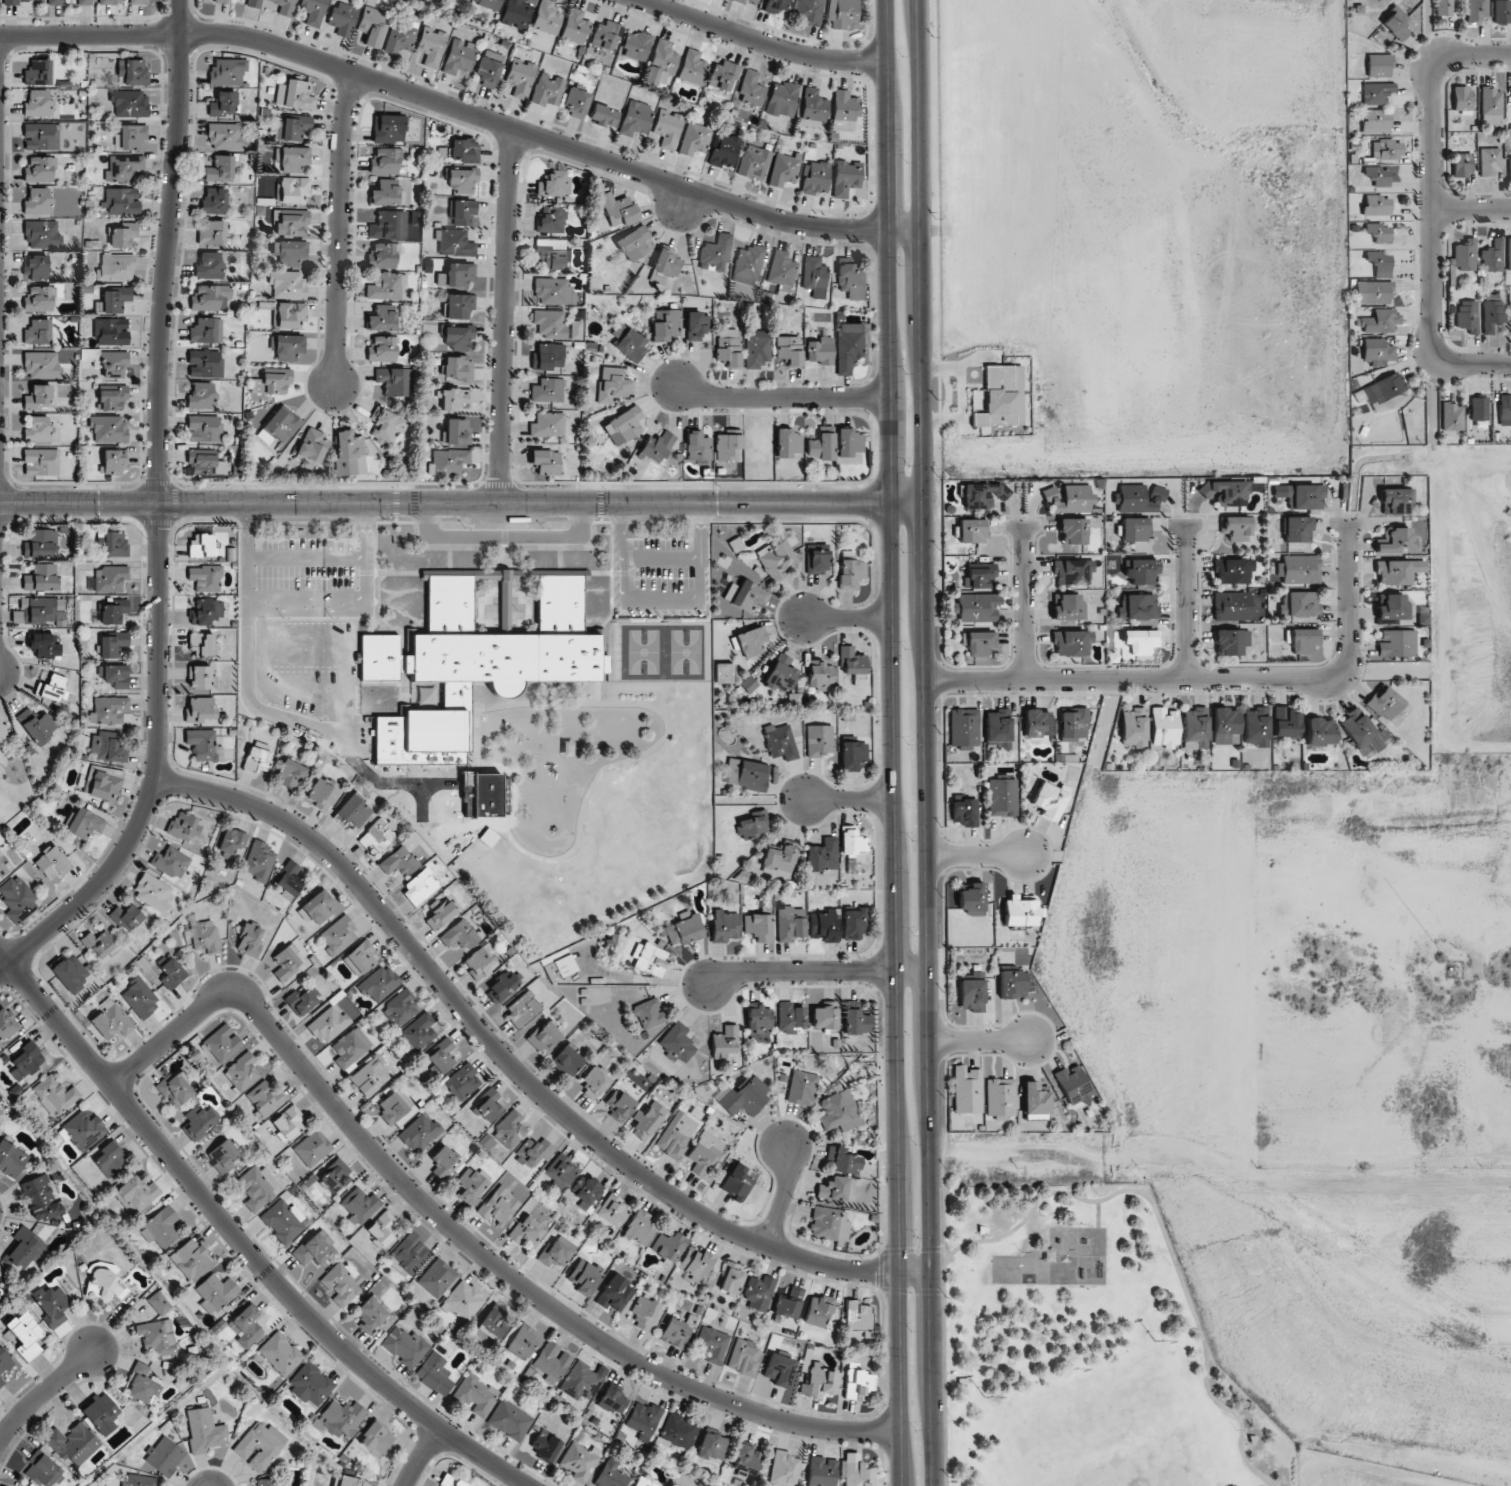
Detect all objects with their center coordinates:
building: (466, 0)
building: (110, 1)
building: (221, 1)
building: (12, 2)
building: (54, 2)
building: (84, 2)
building: (140, 2)
building: (749, 2)
building: (253, 3)
building: (489, 4)
building: (775, 5)
building: (282, 6)
building: (1443, 7)
building: (313, 11)
building: (809, 11)
building: (1476, 11)
building: (1502, 12)
building: (517, 13)
building: (842, 13)
building: (547, 17)
building: (343, 18)
building: (1396, 23)
building: (372, 25)
building: (575, 26)
building: (606, 34)
building: (400, 36)
road: (761, 42)
building: (432, 46)
building: (636, 46)
building: (459, 56)
road: (1470, 56)
building: (662, 62)
building: (1379, 65)
building: (692, 67)
building: (489, 69)
building: (133, 71)
building: (37, 72)
building: (227, 72)
building: (723, 75)
building: (520, 76)
building: (547, 89)
building: (751, 89)
building: (1376, 92)
building: (294, 95)
building: (782, 99)
building: (1461, 99)
building: (577, 102)
building: (129, 103)
building: (38, 104)
building: (224, 104)
building: (1490, 104)
building: (814, 105)
road: (463, 110)
building: (844, 110)
building: (603, 115)
building: (634, 118)
building: (1376, 121)
building: (293, 128)
building: (389, 128)
building: (667, 128)
building: (41, 136)
building: (225, 136)
building: (131, 137)
building: (695, 139)
building: (1386, 149)
building: (464, 150)
building: (725, 151)
building: (295, 159)
building: (385, 161)
building: (1489, 161)
building: (754, 162)
building: (1461, 164)
building: (1509, 167)
building: (124, 168)
building: (39, 169)
building: (220, 169)
building: (784, 169)
building: (1377, 175)
building: (846, 177)
building: (816, 178)
building: (462, 180)
building: (554, 184)
building: (295, 190)
building: (387, 193)
building: (214, 200)
building: (121, 201)
building: (38, 202)
road: (682, 202)
building: (1376, 205)
building: (618, 209)
road: (1432, 209)
road: (1472, 210)
building: (461, 211)
building: (551, 219)
building: (291, 222)
building: (389, 225)
road: (340, 229)
building: (212, 233)
building: (1377, 233)
building: (41, 234)
building: (122, 234)
building: (455, 243)
building: (633, 243)
road: (887, 251)
building: (1509, 253)
building: (549, 254)
building: (715, 254)
building: (1464, 254)
building: (384, 255)
building: (1492, 256)
building: (667, 261)
building: (1379, 263)
building: (209, 265)
building: (748, 265)
building: (35, 266)
building: (116, 268)
building: (781, 270)
building: (814, 276)
building: (851, 280)
building: (287, 284)
building: (386, 285)
building: (554, 291)
building: (1377, 292)
building: (210, 298)
building: (39, 299)
building: (113, 300)
building: (459, 306)
building: (1492, 312)
building: (290, 315)
road: (506, 315)
building: (1467, 315)
building: (382, 319)
building: (1379, 321)
building: (549, 324)
building: (666, 325)
building: (696, 325)
building: (206, 330)
building: (619, 330)
building: (111, 331)
building: (37, 332)
building: (457, 336)
building: (286, 345)
building: (631, 345)
building: (848, 346)
building: (727, 347)
building: (757, 348)
building: (382, 349)
building: (820, 349)
building: (788, 350)
building: (1377, 350)
building: (548, 356)
road: (1472, 361)
building: (114, 364)
building: (205, 364)
building: (41, 365)
building: (458, 368)
building: (394, 381)
building: (271, 382)
building: (613, 384)
building: (1384, 388)
building: (548, 390)
building: (1004, 394)
building: (201, 396)
building: (39, 397)
building: (111, 398)
building: (454, 398)
road: (781, 398)
building: (1479, 409)
building: (1505, 409)
building: (1452, 417)
building: (979, 419)
building: (548, 425)
building: (625, 425)
building: (279, 426)
building: (386, 427)
building: (108, 428)
building: (204, 428)
building: (38, 429)
building: (457, 431)
building: (848, 442)
building: (788, 443)
building: (313, 445)
building: (821, 445)
building: (656, 446)
building: (698, 446)
building: (727, 446)
building: (349, 453)
building: (115, 461)
building: (546, 461)
building: (40, 462)
building: (449, 462)
building: (205, 464)
building: (1225, 492)
building: (980, 495)
building: (1302, 495)
building: (1070, 498)
building: (1139, 498)
building: (1396, 501)
road: (445, 503)
road: (907, 503)
road: (159, 515)
building: (1237, 527)
building: (1135, 529)
building: (1297, 529)
building: (973, 530)
building: (1073, 531)
building: (113, 543)
building: (41, 544)
building: (202, 545)
building: (776, 559)
building: (817, 560)
building: (1299, 569)
building: (1073, 571)
building: (1233, 571)
building: (1397, 571)
building: (1142, 572)
building: (851, 574)
building: (979, 575)
building: (42, 577)
building: (204, 577)
building: (111, 579)
building: (746, 595)
road: (305, 600)
road: (1185, 602)
road: (1021, 604)
building: (1299, 604)
building: (1067, 606)
building: (1232, 606)
building: (976, 607)
building: (1138, 607)
building: (1392, 607)
building: (35, 610)
building: (112, 611)
building: (205, 611)
road: (847, 618)
building: (1302, 639)
building: (1141, 641)
building: (1231, 641)
building: (749, 642)
building: (979, 642)
building: (1072, 642)
building: (1396, 643)
building: (112, 645)
building: (201, 645)
building: (45, 646)
building: (852, 661)
building: (475, 662)
building: (724, 673)
building: (781, 674)
building: (115, 675)
building: (819, 675)
building: (201, 678)
road: (1206, 681)
building: (53, 687)
building: (1386, 704)
building: (201, 709)
building: (108, 710)
building: (1286, 722)
building: (1037, 723)
building: (37, 725)
building: (1074, 725)
building: (1225, 726)
building: (964, 727)
building: (1133, 727)
building: (1164, 727)
building: (1195, 727)
building: (1256, 727)
building: (998, 728)
building: (2, 732)
building: (1319, 732)
building: (1364, 733)
building: (820, 740)
building: (781, 742)
road: (927, 743)
building: (204, 745)
building: (108, 748)
building: (852, 755)
building: (256, 759)
building: (109, 770)
building: (289, 773)
building: (747, 774)
building: (105, 786)
building: (321, 793)
building: (1003, 797)
road: (850, 800)
building: (1050, 800)
building: (353, 811)
building: (965, 812)
building: (85, 823)
building: (753, 825)
building: (184, 826)
building: (378, 834)
building: (852, 841)
building: (232, 842)
road: (976, 855)
building: (823, 857)
building: (259, 861)
building: (399, 861)
building: (779, 861)
building: (170, 862)
building: (53, 863)
building: (4, 865)
building: (288, 878)
building: (419, 887)
building: (152, 891)
building: (18, 898)
building: (972, 899)
building: (317, 908)
building: (1019, 911)
building: (441, 913)
building: (127, 917)
building: (791, 923)
building: (854, 923)
building: (824, 924)
building: (724, 925)
building: (758, 927)
building: (685, 929)
building: (338, 935)
building: (460, 935)
building: (204, 936)
building: (250, 939)
building: (98, 944)
road: (5, 956)
building: (362, 956)
building: (650, 958)
building: (480, 960)
building: (287, 962)
building: (559, 966)
road: (817, 971)
building: (70, 972)
building: (172, 974)
building: (379, 983)
building: (1013, 984)
building: (500, 988)
road: (894, 994)
building: (972, 995)
building: (140, 998)
building: (301, 1002)
building: (400, 1008)
building: (523, 1009)
building: (650, 1015)
building: (790, 1017)
building: (825, 1017)
building: (855, 1019)
building: (111, 1021)
building: (759, 1023)
building: (7, 1024)
building: (328, 1024)
building: (419, 1031)
building: (543, 1036)
road: (979, 1039)
building: (725, 1040)
building: (678, 1042)
building: (222, 1043)
building: (351, 1047)
building: (441, 1056)
building: (567, 1060)
building: (26, 1061)
road: (515, 1069)
building: (242, 1071)
building: (370, 1077)
building: (461, 1082)
building: (594, 1082)
building: (1074, 1086)
building: (801, 1087)
building: (176, 1088)
building: (967, 1090)
building: (55, 1094)
building: (745, 1096)
building: (265, 1098)
building: (1000, 1098)
building: (1034, 1099)
building: (489, 1104)
building: (619, 1105)
building: (395, 1108)
building: (838, 1111)
building: (199, 1120)
building: (648, 1120)
building: (288, 1122)
building: (83, 1130)
building: (509, 1130)
building: (419, 1133)
building: (676, 1135)
building: (312, 1148)
building: (533, 1152)
building: (703, 1152)
building: (224, 1154)
building: (11, 1159)
building: (110, 1159)
building: (443, 1160)
building: (842, 1161)
building: (560, 1171)
building: (334, 1175)
building: (738, 1181)
building: (471, 1184)
building: (257, 1187)
building: (833, 1189)
building: (586, 1191)
building: (136, 1194)
road: (785, 1196)
building: (42, 1198)
building: (360, 1204)
building: (499, 1206)
building: (613, 1210)
road: (1099, 1214)
building: (283, 1221)
building: (829, 1224)
building: (383, 1227)
building: (162, 1228)
building: (639, 1228)
building: (525, 1232)
road: (465, 1238)
road: (1166, 1238)
building: (668, 1246)
road: (245, 1247)
building: (315, 1248)
building: (25, 1249)
road: (937, 1249)
building: (557, 1253)
building: (409, 1254)
building: (190, 1258)
park: (1058, 1261)
building: (694, 1263)
road: (943, 1263)
building: (585, 1276)
building: (437, 1278)
building: (731, 1279)
building: (342, 1282)
building: (216, 1291)
road: (938, 1291)
building: (759, 1292)
building: (615, 1293)
building: (464, 1301)
building: (159, 1303)
building: (789, 1303)
building: (51, 1304)
building: (818, 1311)
building: (645, 1312)
building: (370, 1314)
building: (858, 1317)
building: (493, 1325)
building: (245, 1326)
building: (677, 1331)
building: (26, 1335)
building: (157, 1337)
building: (523, 1340)
building: (712, 1343)
building: (405, 1346)
park: (1086, 1349)
building: (280, 1353)
building: (744, 1357)
building: (552, 1362)
building: (4, 1364)
building: (779, 1369)
building: (435, 1373)
building: (582, 1380)
building: (819, 1382)
building: (857, 1382)
building: (310, 1384)
building: (143, 1385)
road: (44, 1391)
building: (475, 1394)
building: (612, 1399)
building: (101, 1413)
building: (342, 1418)
building: (644, 1419)
building: (510, 1420)
building: (205, 1430)
building: (679, 1431)
building: (376, 1438)
building: (72, 1443)
building: (260, 1445)
building: (545, 1445)
building: (712, 1446)
building: (164, 1456)
road: (422, 1457)
building: (746, 1459)
building: (579, 1461)
building: (42, 1469)
building: (783, 1469)
building: (822, 1471)
building: (856, 1471)
building: (611, 1474)
building: (140, 1481)
building: (345, 1481)
building: (451, 1481)
building: (271, 1482)
building: (645, 1482)

